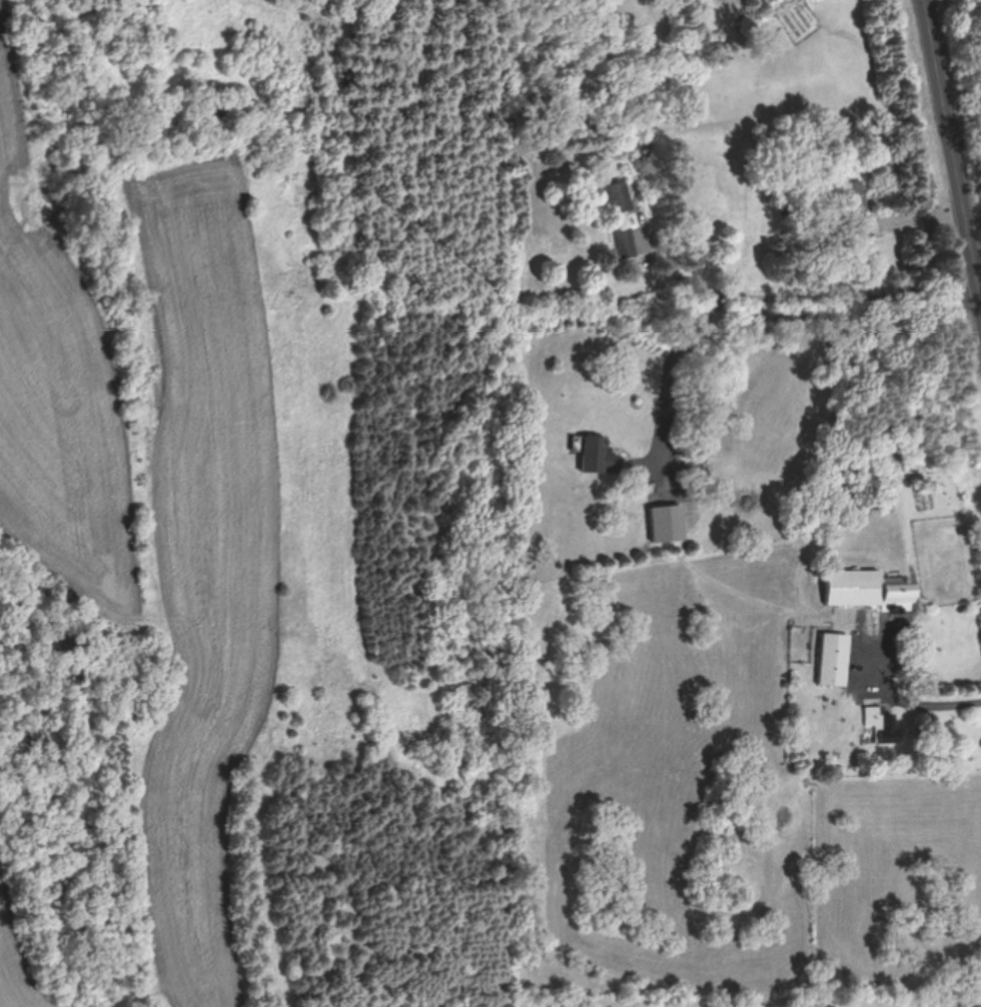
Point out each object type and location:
park: (962, 96)
road: (953, 144)
building: (615, 195)
building: (863, 207)
building: (625, 242)
road: (821, 293)
road: (769, 307)
building: (600, 453)
building: (870, 589)
building: (834, 659)
road: (912, 700)
building: (874, 712)

